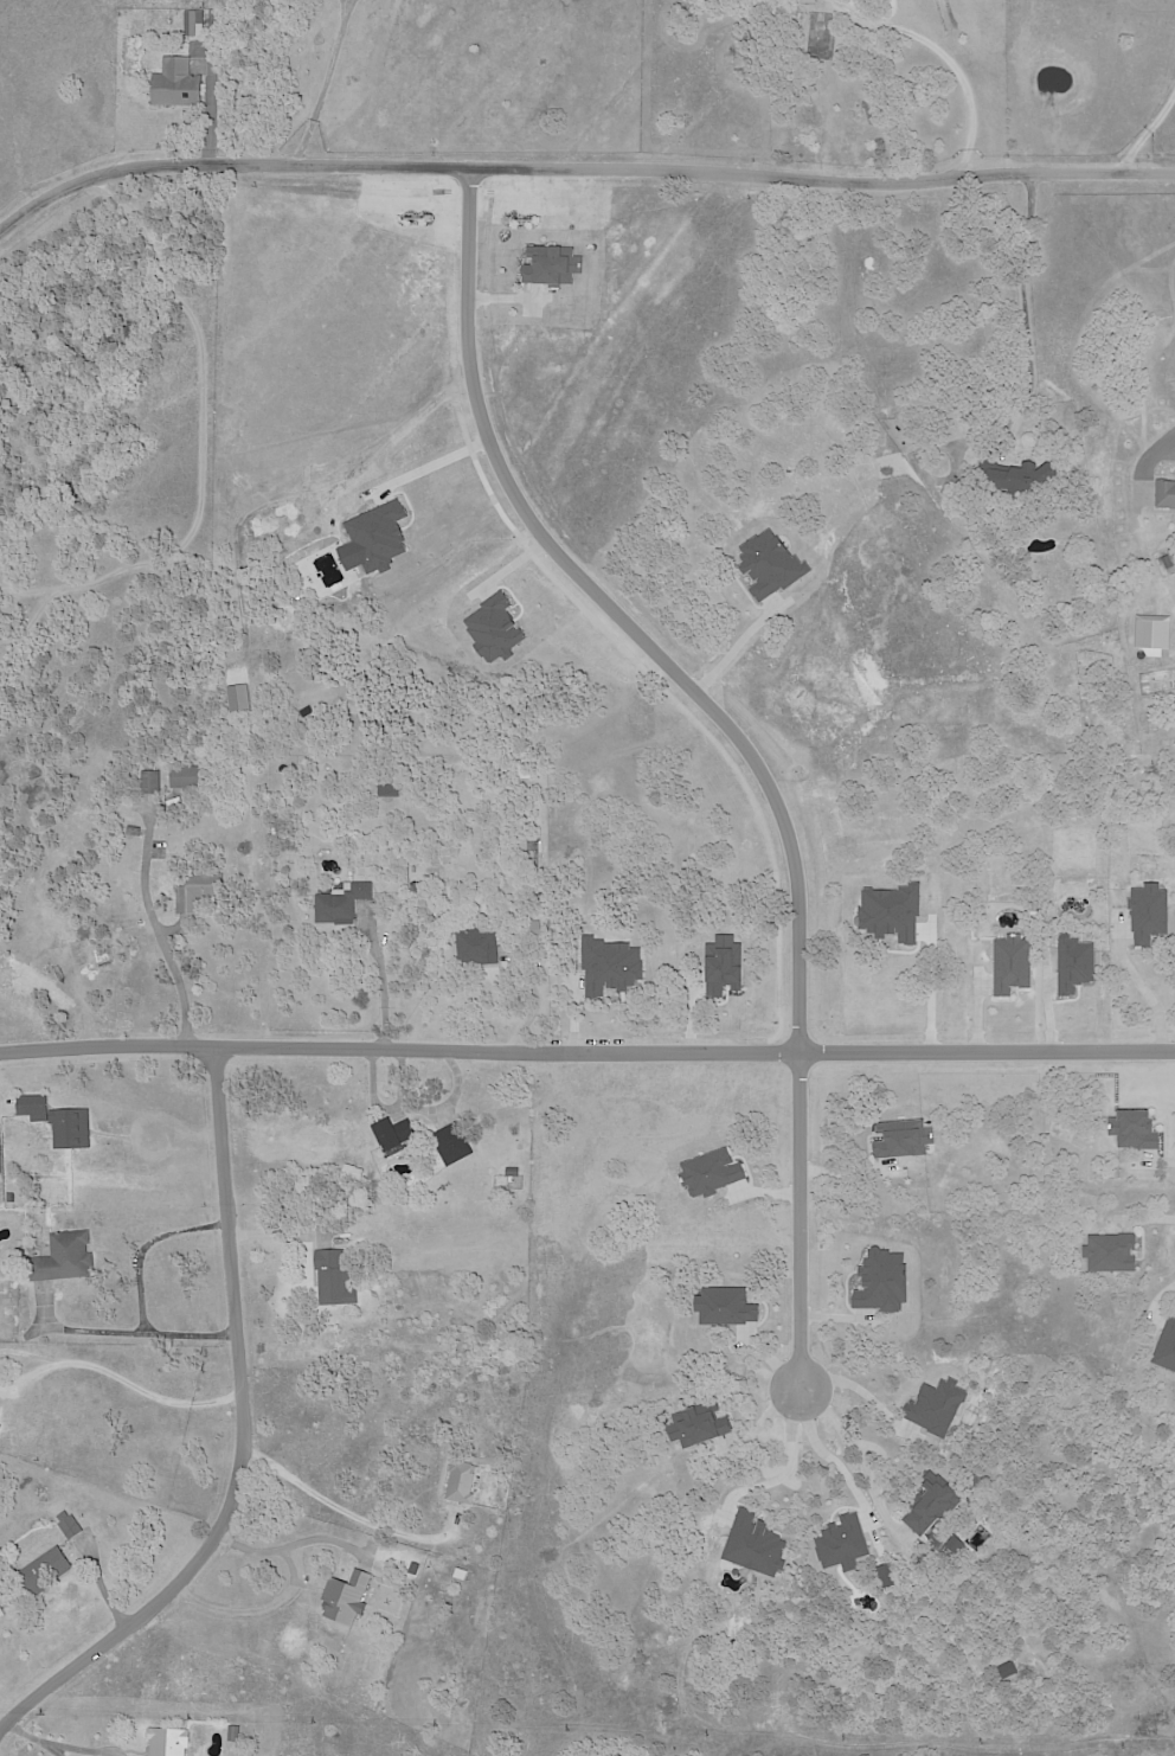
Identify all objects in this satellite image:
building: (194, 23)
road: (949, 59)
road: (326, 81)
building: (176, 83)
road: (1147, 128)
road: (579, 164)
road: (1020, 299)
road: (443, 469)
building: (1019, 479)
building: (1164, 494)
road: (746, 649)
building: (917, 701)
building: (1122, 733)
road: (746, 738)
building: (191, 776)
building: (152, 781)
building: (391, 784)
building: (134, 831)
building: (199, 890)
building: (542, 899)
building: (341, 902)
road: (155, 925)
building: (479, 946)
road: (390, 976)
road: (1152, 992)
road: (534, 993)
road: (933, 996)
road: (586, 1049)
building: (468, 1102)
road: (416, 1107)
building: (33, 1108)
building: (71, 1128)
building: (392, 1133)
building: (452, 1143)
building: (0, 1164)
building: (355, 1171)
building: (512, 1173)
building: (11, 1198)
road: (281, 1233)
road: (148, 1246)
building: (64, 1257)
building: (335, 1278)
building: (476, 1296)
road: (143, 1332)
road: (129, 1383)
road: (239, 1389)
building: (0, 1406)
building: (0, 1410)
road: (860, 1449)
road: (839, 1457)
road: (797, 1466)
building: (461, 1482)
road: (341, 1506)
building: (69, 1526)
road: (334, 1539)
building: (47, 1568)
road: (291, 1596)
building: (347, 1597)
road: (32, 1697)
road: (32, 1731)
building: (235, 1735)
building: (168, 1742)
road: (89, 1748)
road: (62, 1751)

